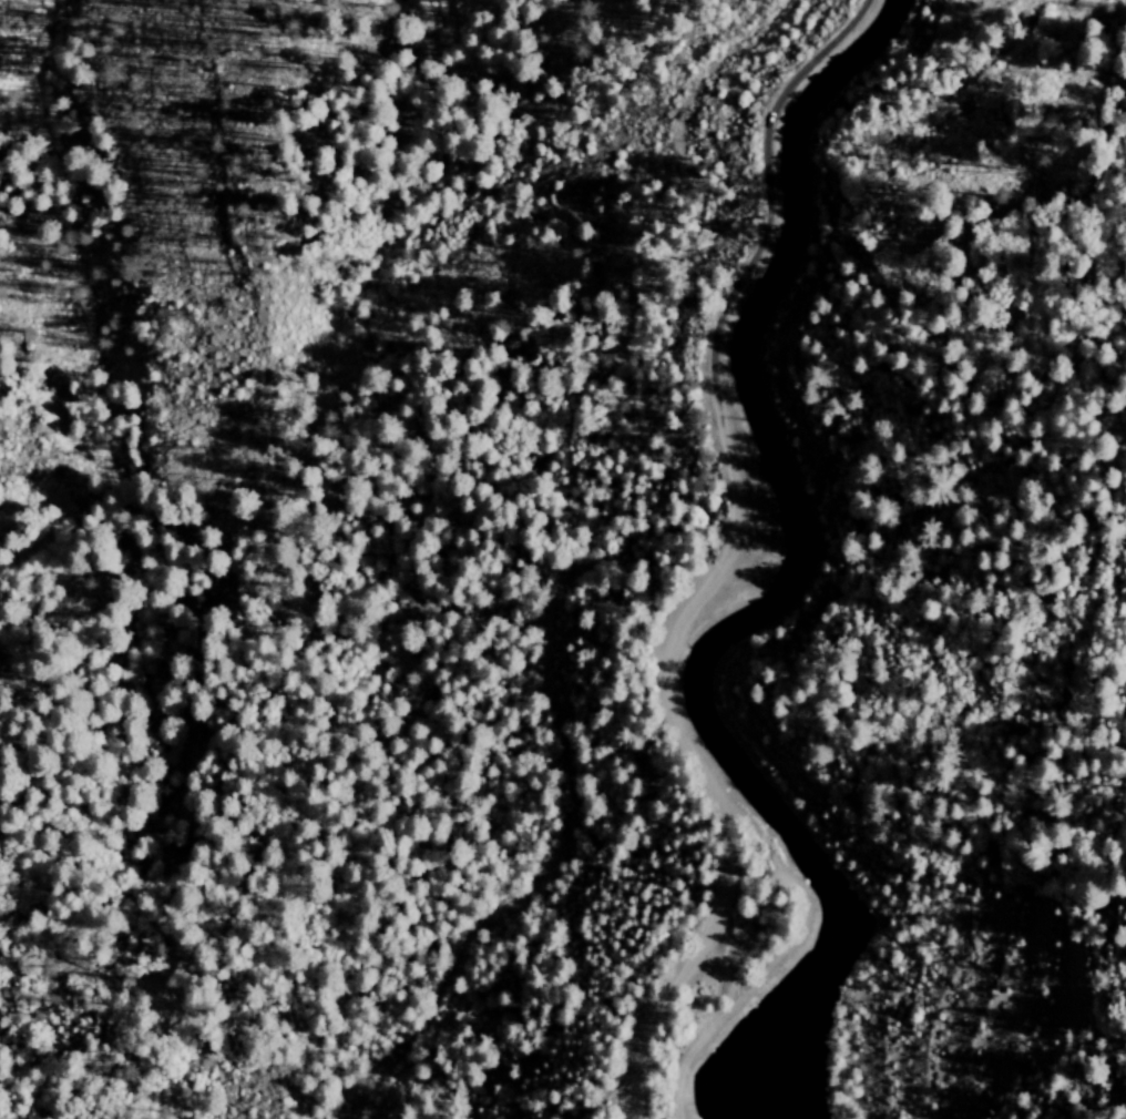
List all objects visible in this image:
road: (1125, 0)
power tower: (661, 105)
power tower: (715, 115)
road: (760, 161)
road: (680, 737)

